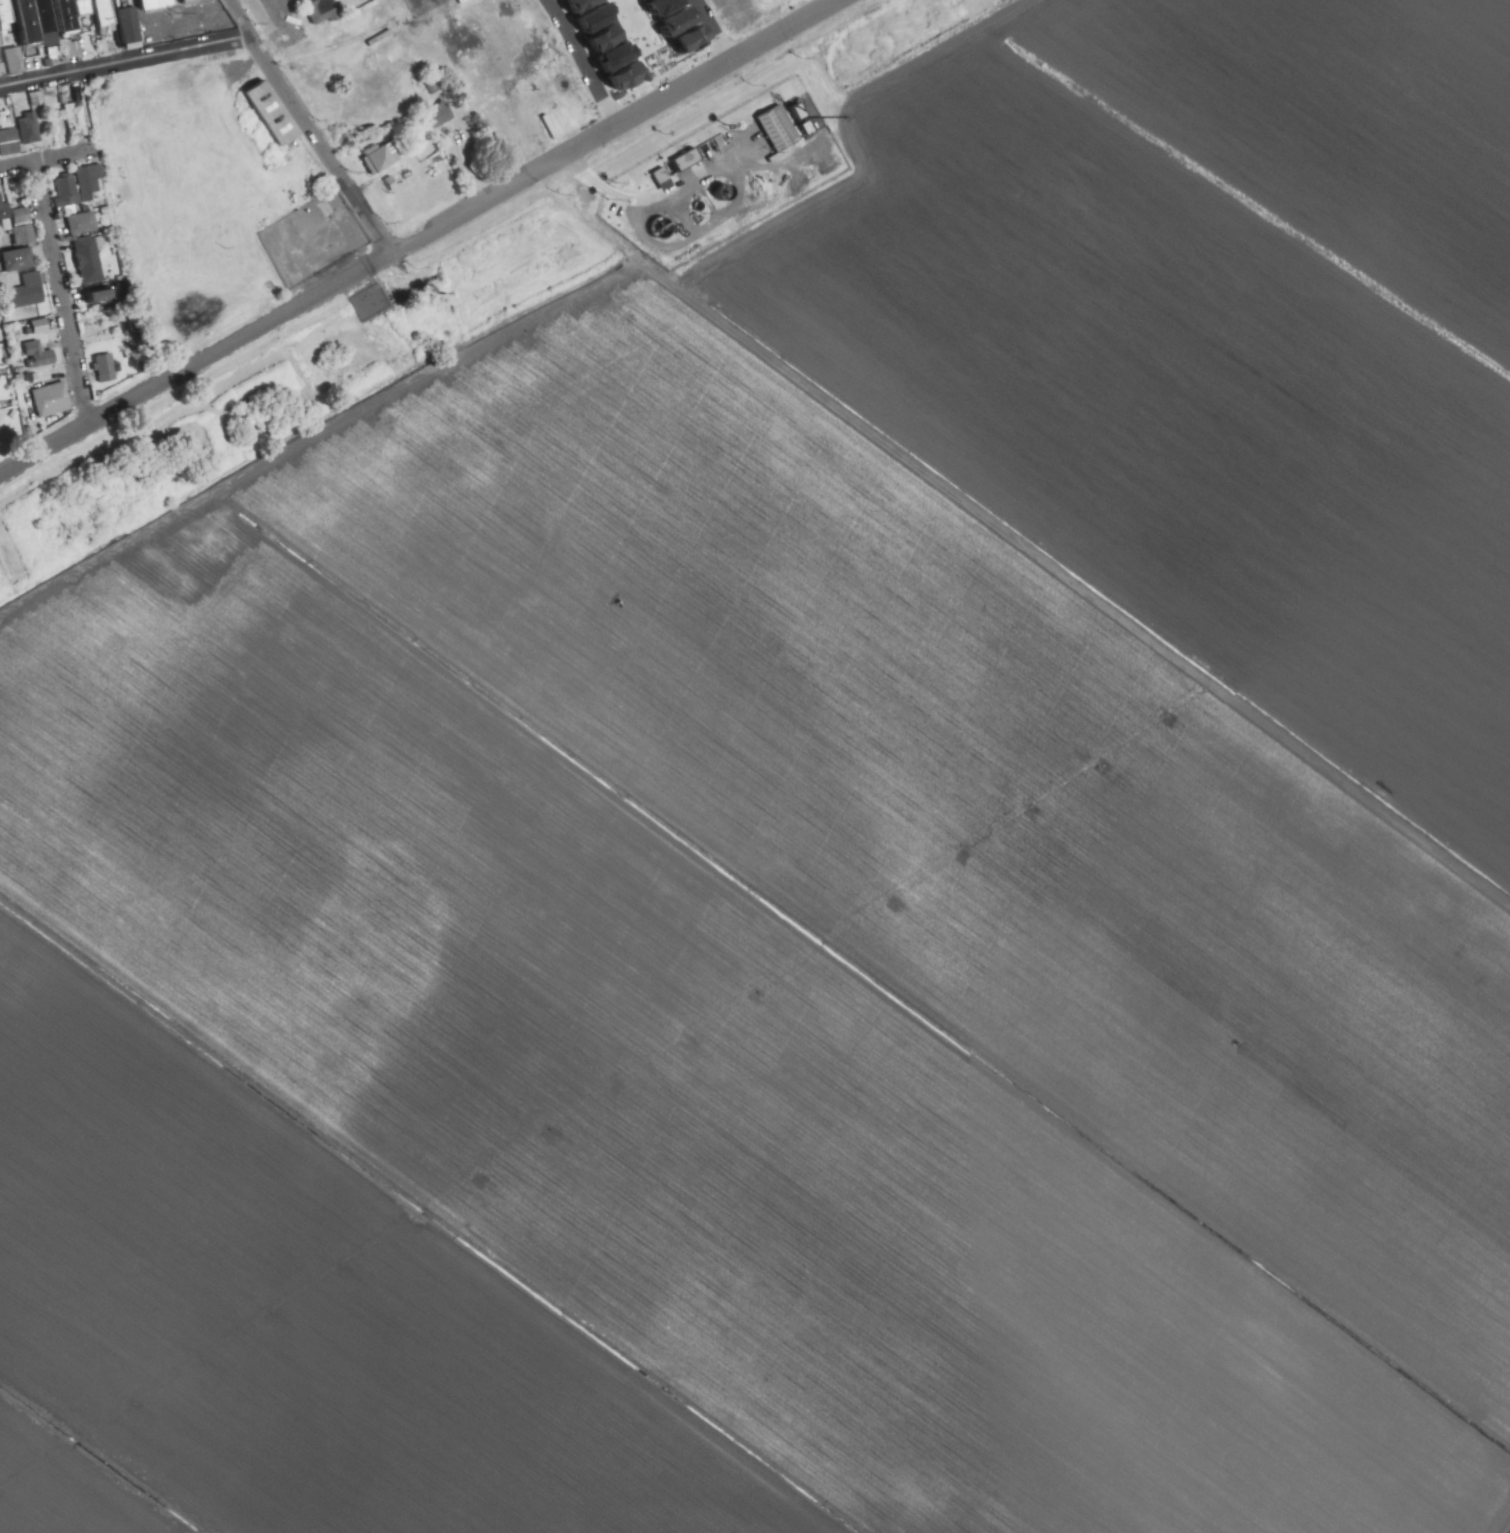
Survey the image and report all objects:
building: (195, 1)
road: (843, 2)
building: (158, 5)
building: (327, 5)
building: (582, 5)
building: (667, 5)
building: (87, 8)
building: (108, 15)
road: (782, 15)
building: (69, 16)
building: (596, 17)
building: (680, 19)
building: (31, 23)
building: (50, 24)
building: (129, 25)
road: (716, 31)
building: (1, 35)
building: (607, 36)
building: (691, 38)
road: (330, 41)
road: (651, 47)
building: (617, 55)
building: (17, 60)
road: (126, 62)
building: (33, 63)
road: (581, 63)
building: (4, 70)
building: (628, 74)
building: (799, 111)
building: (275, 112)
building: (439, 117)
road: (183, 118)
building: (79, 120)
building: (31, 128)
road: (307, 128)
building: (808, 128)
building: (781, 130)
building: (10, 142)
road: (49, 159)
building: (384, 159)
building: (690, 161)
road: (855, 162)
building: (664, 177)
building: (439, 181)
building: (93, 183)
building: (69, 191)
park: (202, 198)
building: (5, 210)
road: (602, 214)
building: (85, 225)
building: (26, 227)
road: (421, 237)
parking lot: (318, 245)
building: (19, 261)
building: (91, 262)
building: (30, 292)
road: (63, 294)
building: (102, 297)
building: (42, 328)
building: (41, 358)
building: (108, 370)
park: (295, 380)
building: (55, 403)
road: (316, 441)
road: (1102, 577)
crop: (802, 844)
road: (725, 1424)
road: (1497, 1516)

